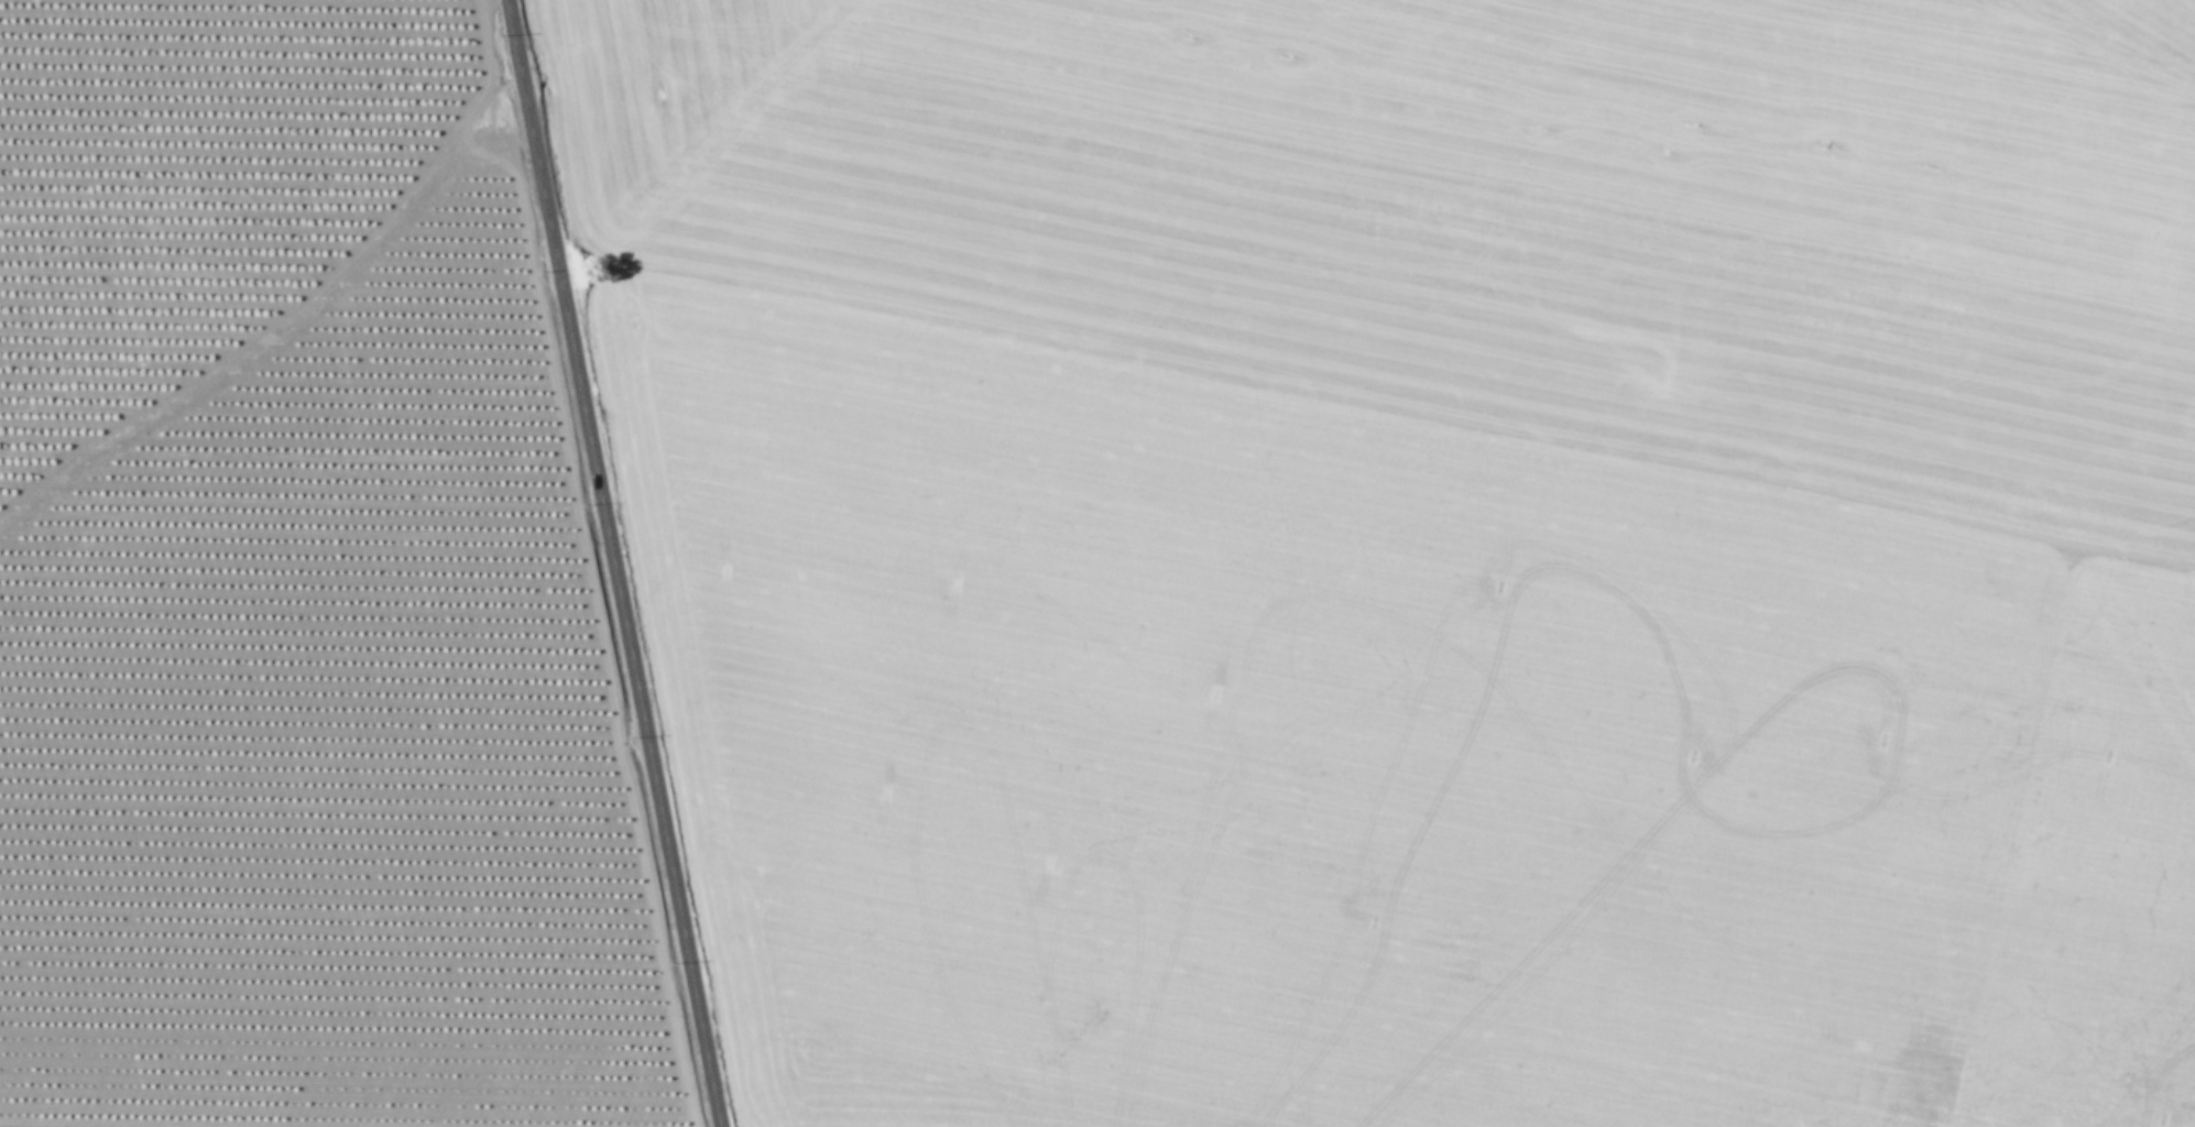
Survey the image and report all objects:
road: (611, 562)
crop: (1097, 563)

